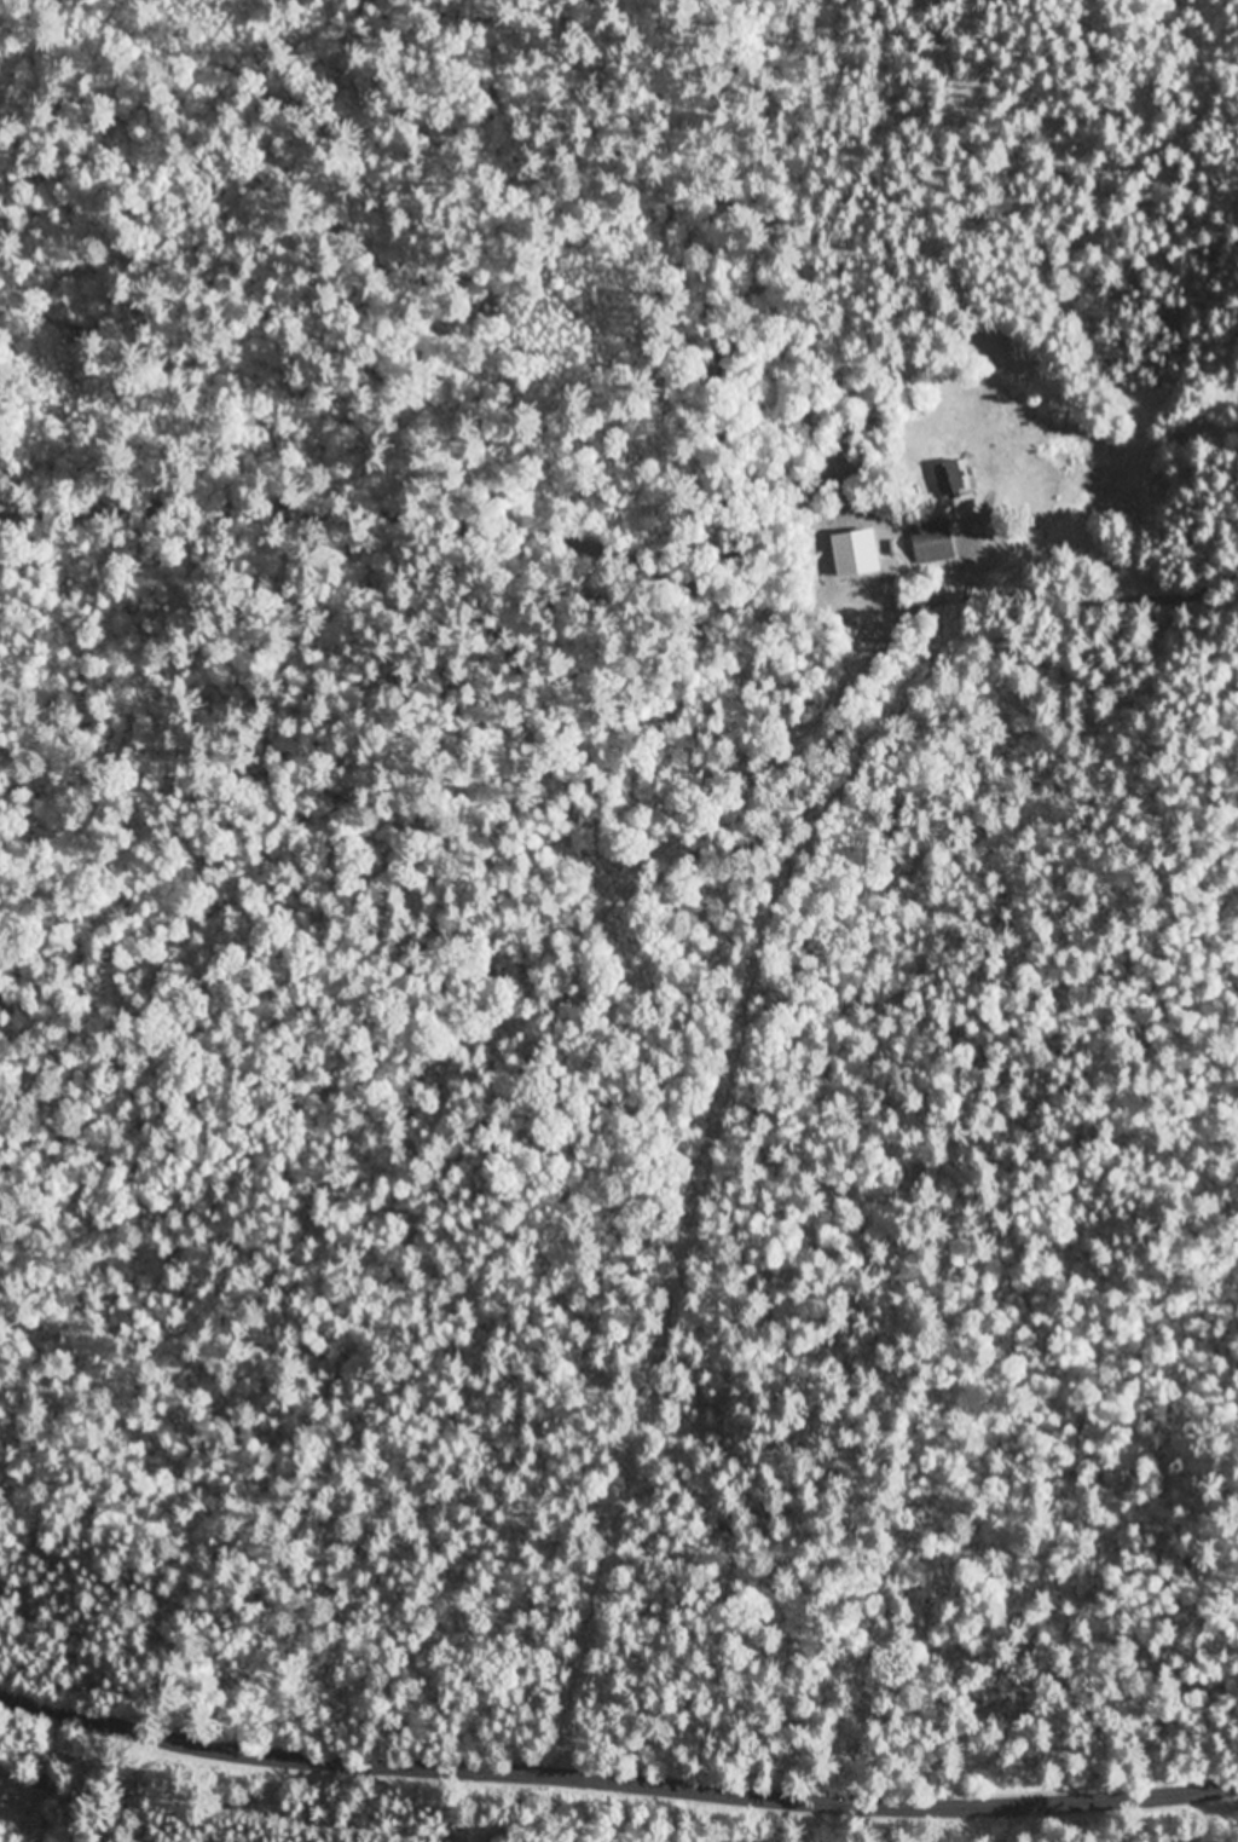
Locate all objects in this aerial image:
building: (951, 480)
road: (493, 519)
building: (937, 543)
road: (615, 1777)
building: (40, 1788)

